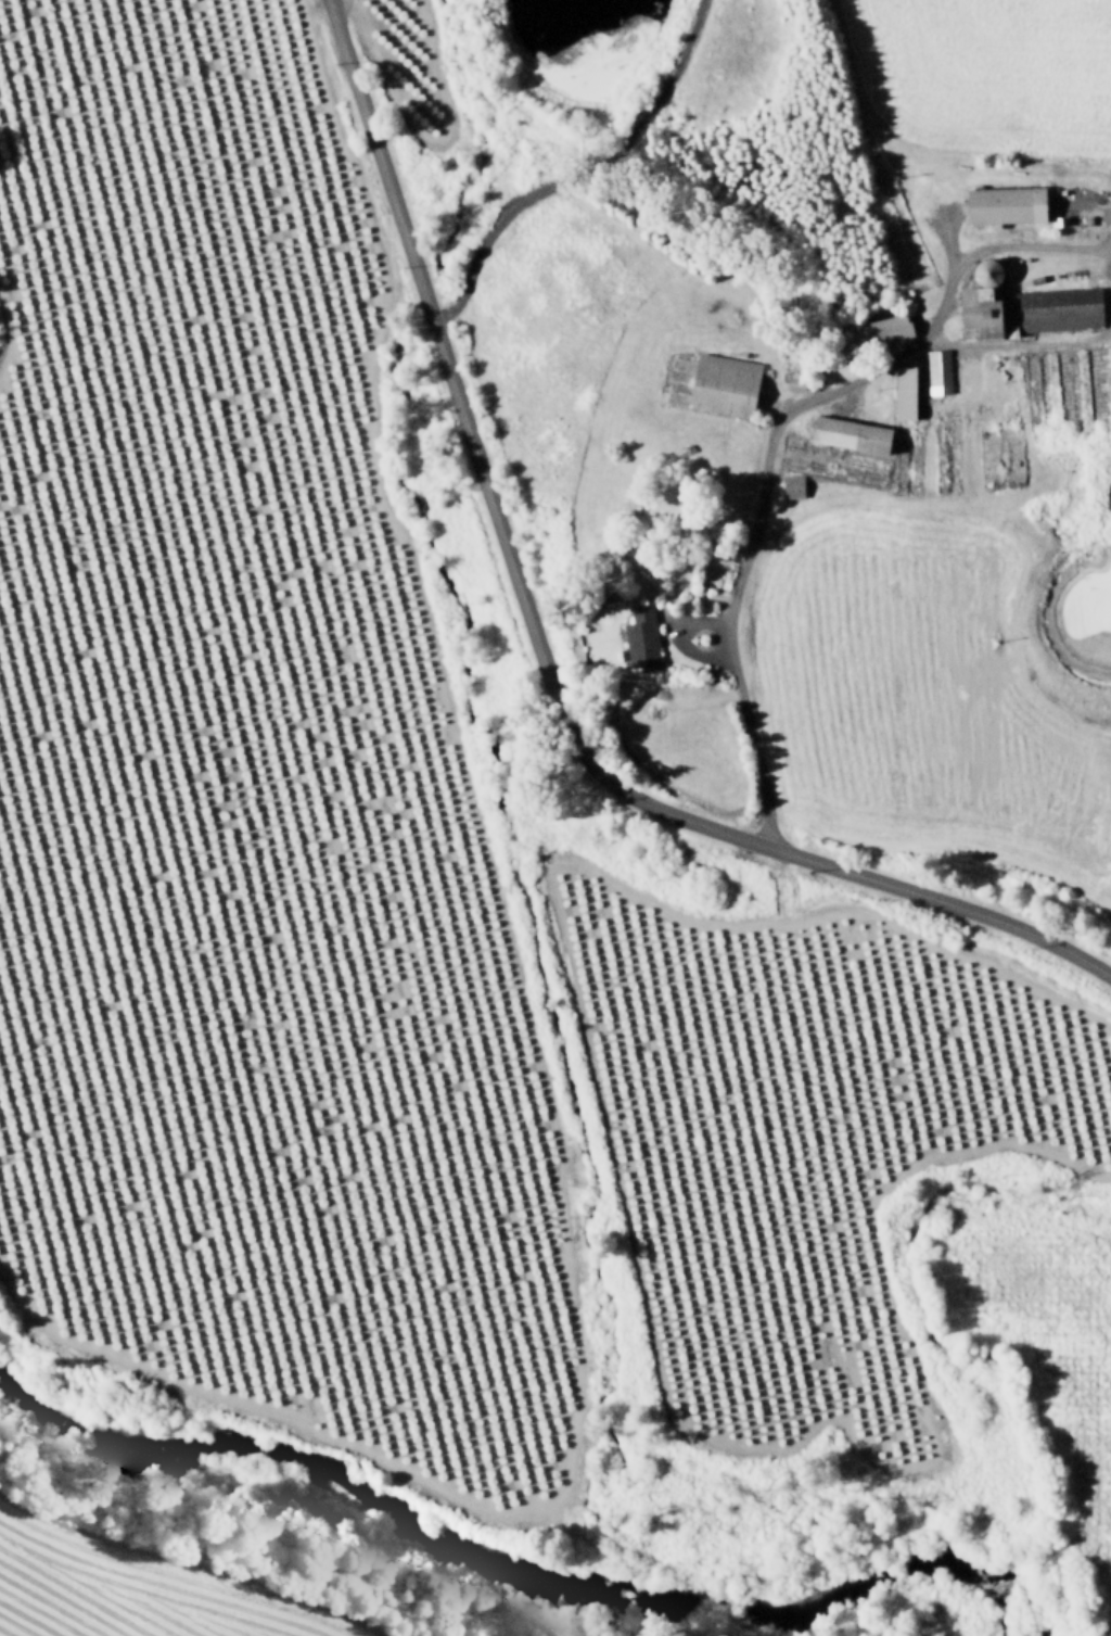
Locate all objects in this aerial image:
building: (1005, 203)
building: (1025, 305)
building: (883, 328)
building: (937, 369)
building: (724, 383)
building: (904, 390)
building: (851, 432)
building: (792, 485)
road: (745, 560)
building: (640, 634)
road: (539, 654)
river: (508, 1568)
crop: (126, 1590)

